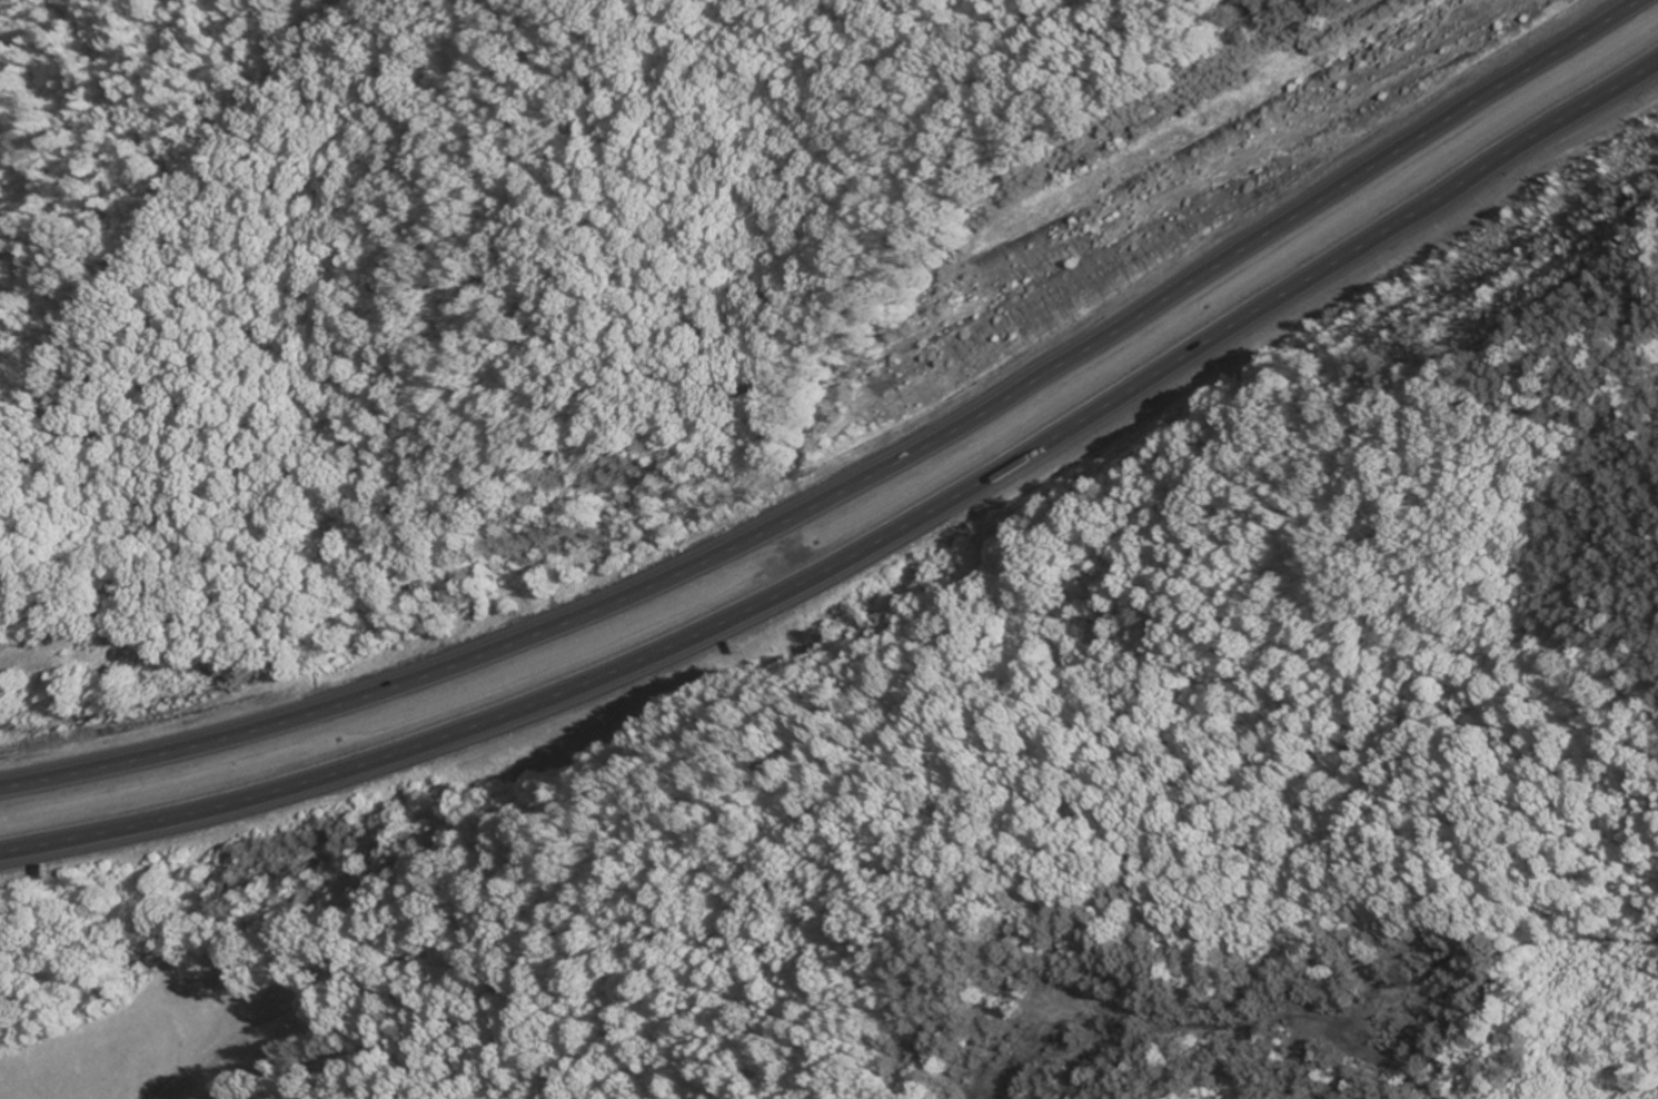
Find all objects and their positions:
road: (984, 159)
road: (855, 481)
road: (870, 552)

